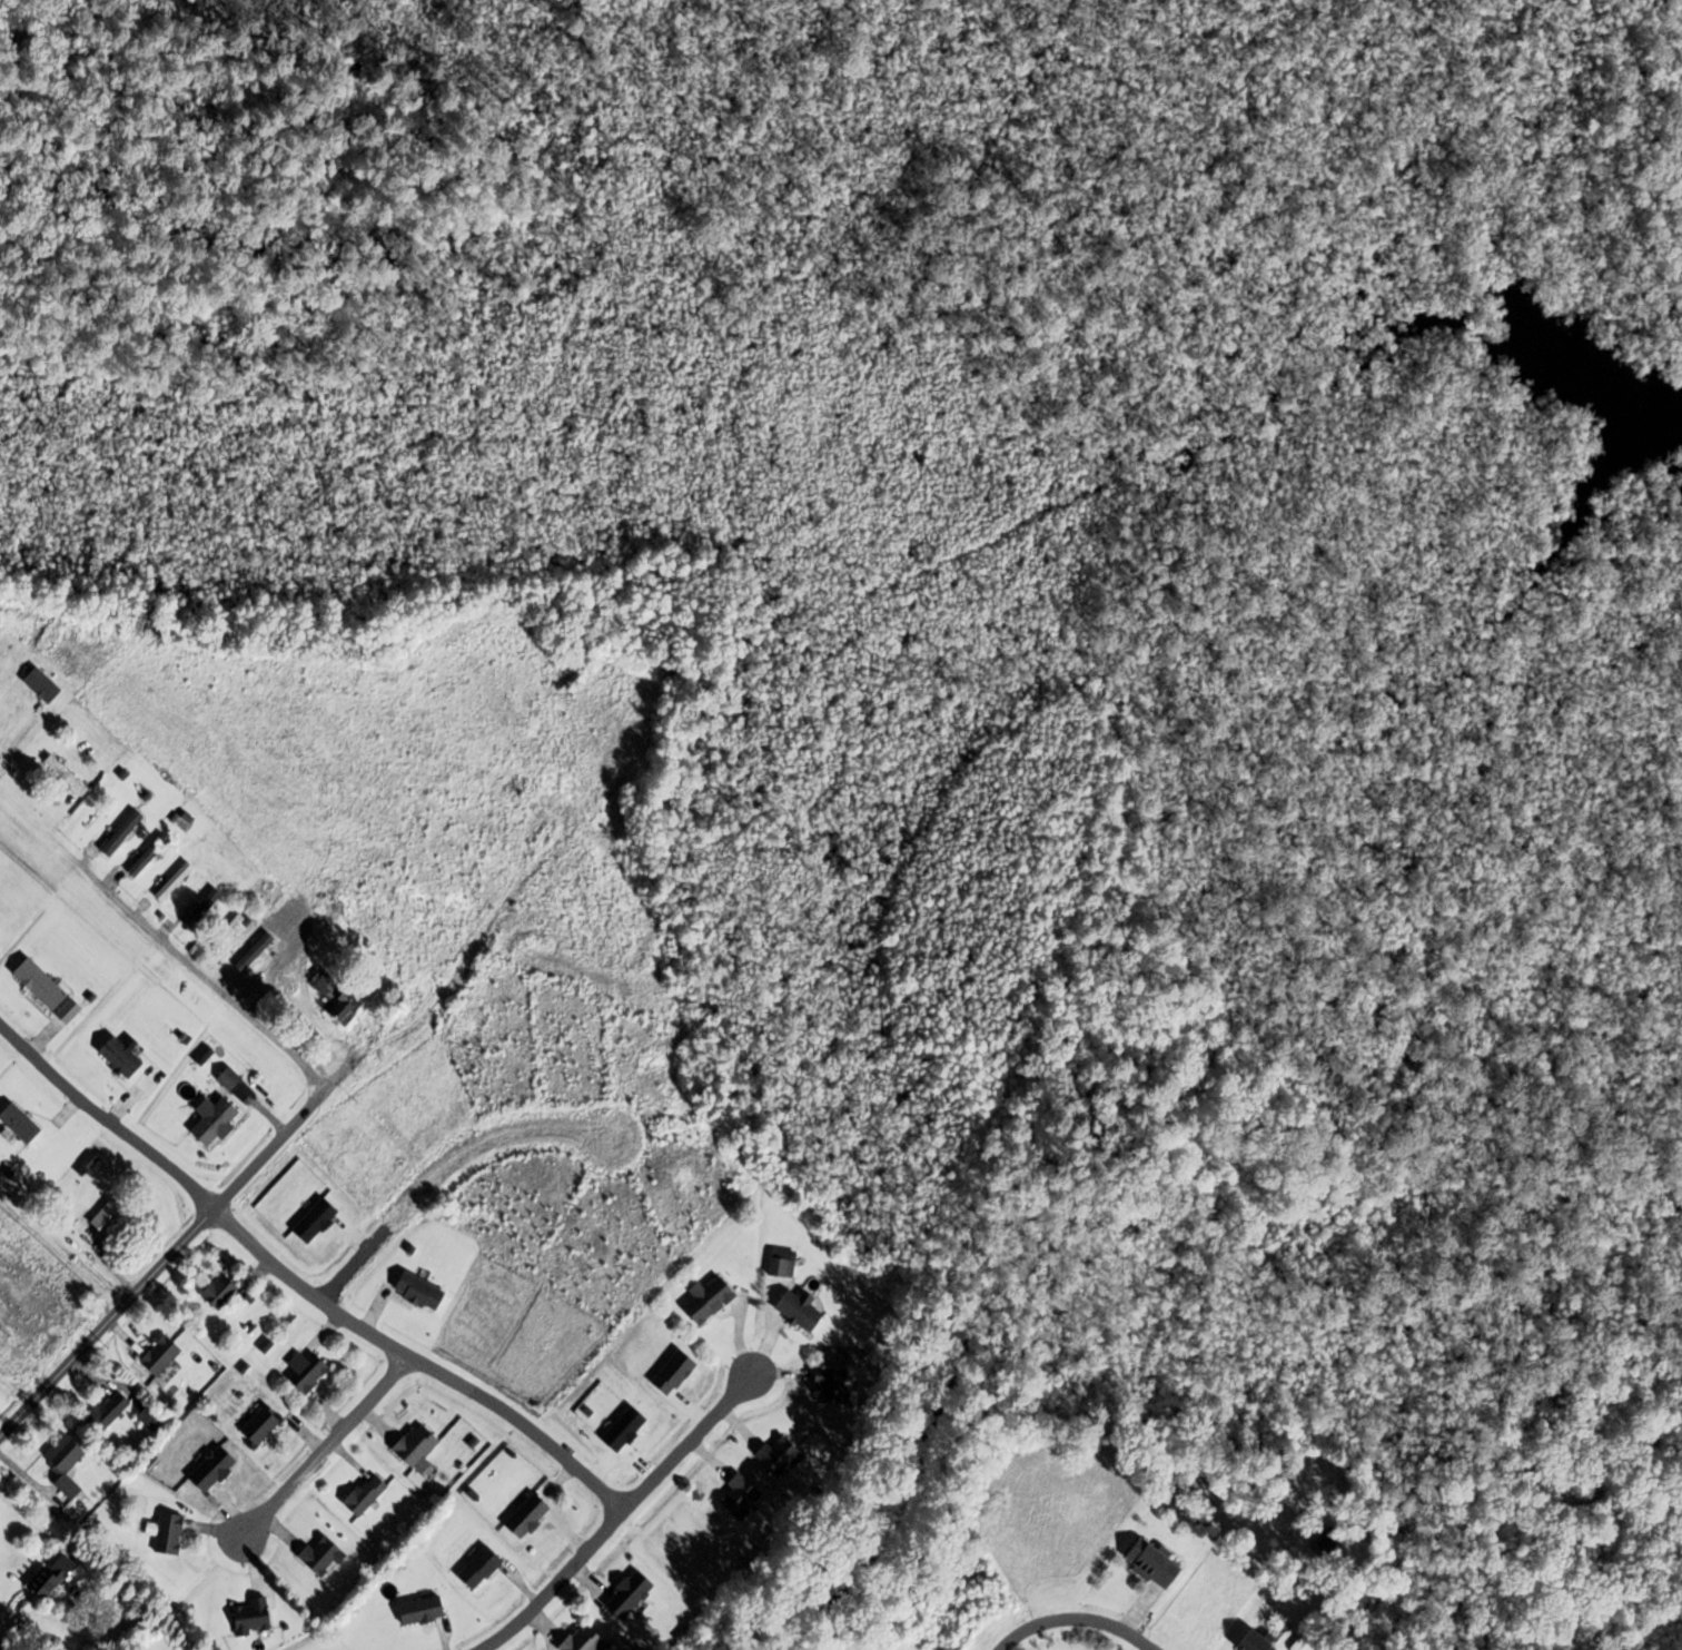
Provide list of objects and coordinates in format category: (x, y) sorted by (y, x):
building: (43, 685)
building: (67, 775)
building: (123, 833)
building: (150, 854)
building: (175, 881)
building: (204, 908)
building: (228, 932)
road: (162, 940)
building: (265, 942)
building: (339, 998)
building: (123, 1058)
building: (231, 1079)
building: (217, 1122)
building: (21, 1123)
building: (88, 1164)
road: (445, 1170)
building: (110, 1217)
road: (178, 1247)
road: (60, 1256)
building: (776, 1264)
road: (298, 1284)
building: (220, 1291)
building: (423, 1291)
building: (701, 1301)
building: (792, 1312)
building: (162, 1355)
building: (308, 1370)
building: (825, 1387)
building: (110, 1411)
building: (152, 1417)
building: (263, 1425)
building: (418, 1444)
road: (323, 1448)
building: (782, 1455)
building: (67, 1463)
building: (216, 1468)
building: (367, 1495)
building: (741, 1496)
road: (614, 1514)
building: (528, 1516)
building: (323, 1555)
building: (1144, 1564)
building: (482, 1568)
building: (56, 1575)
building: (632, 1593)
building: (423, 1610)
building: (253, 1617)
road: (1078, 1620)
building: (587, 1639)
building: (1244, 1641)

